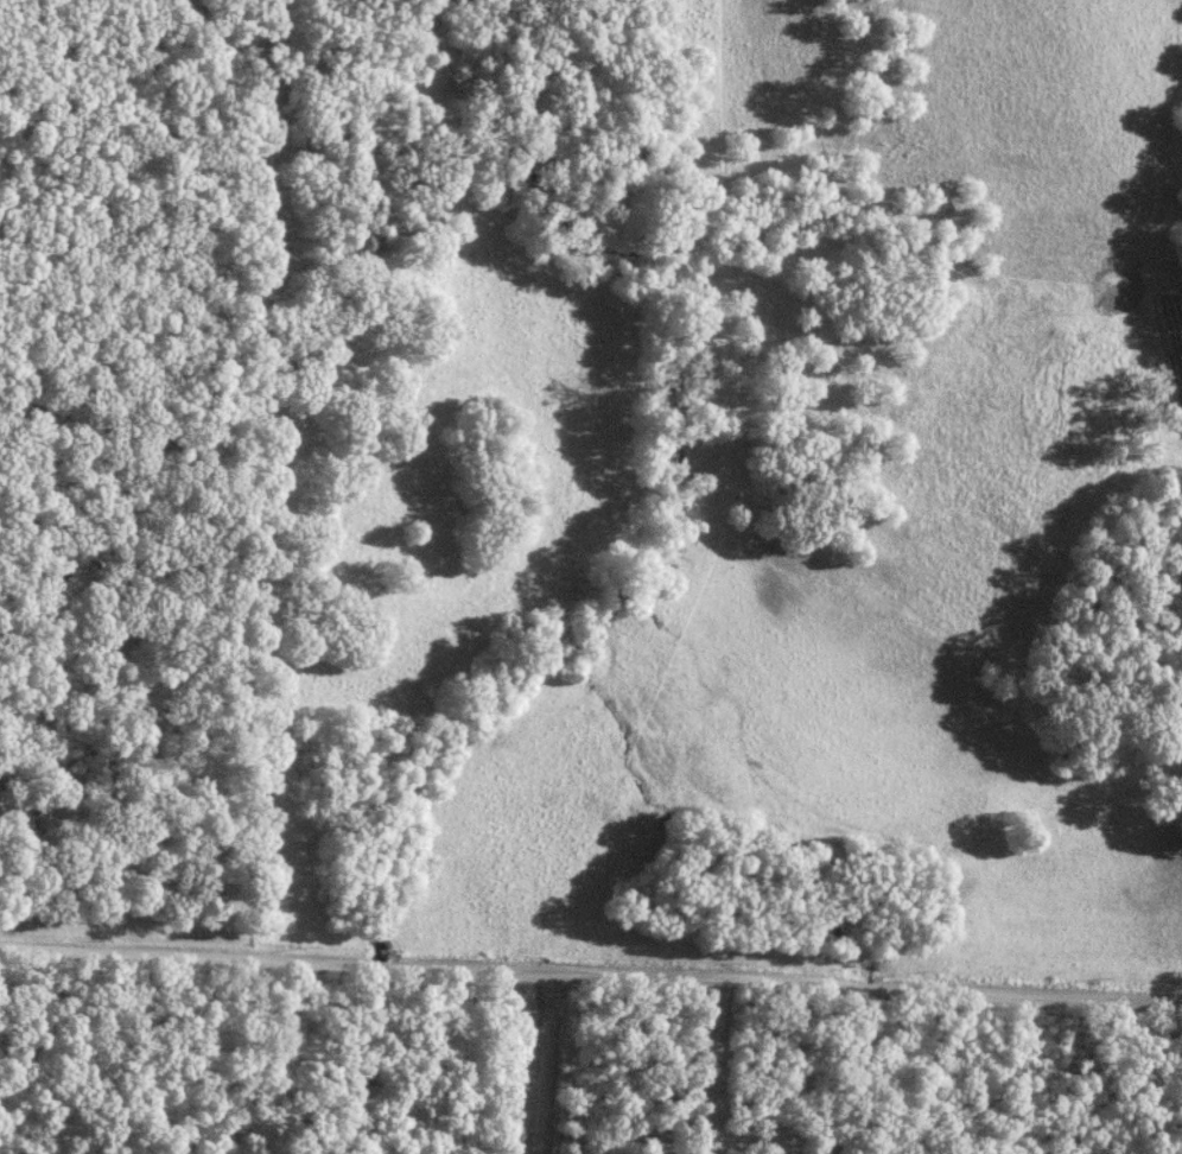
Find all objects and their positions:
road: (591, 971)
road: (540, 1061)
road: (713, 1066)

